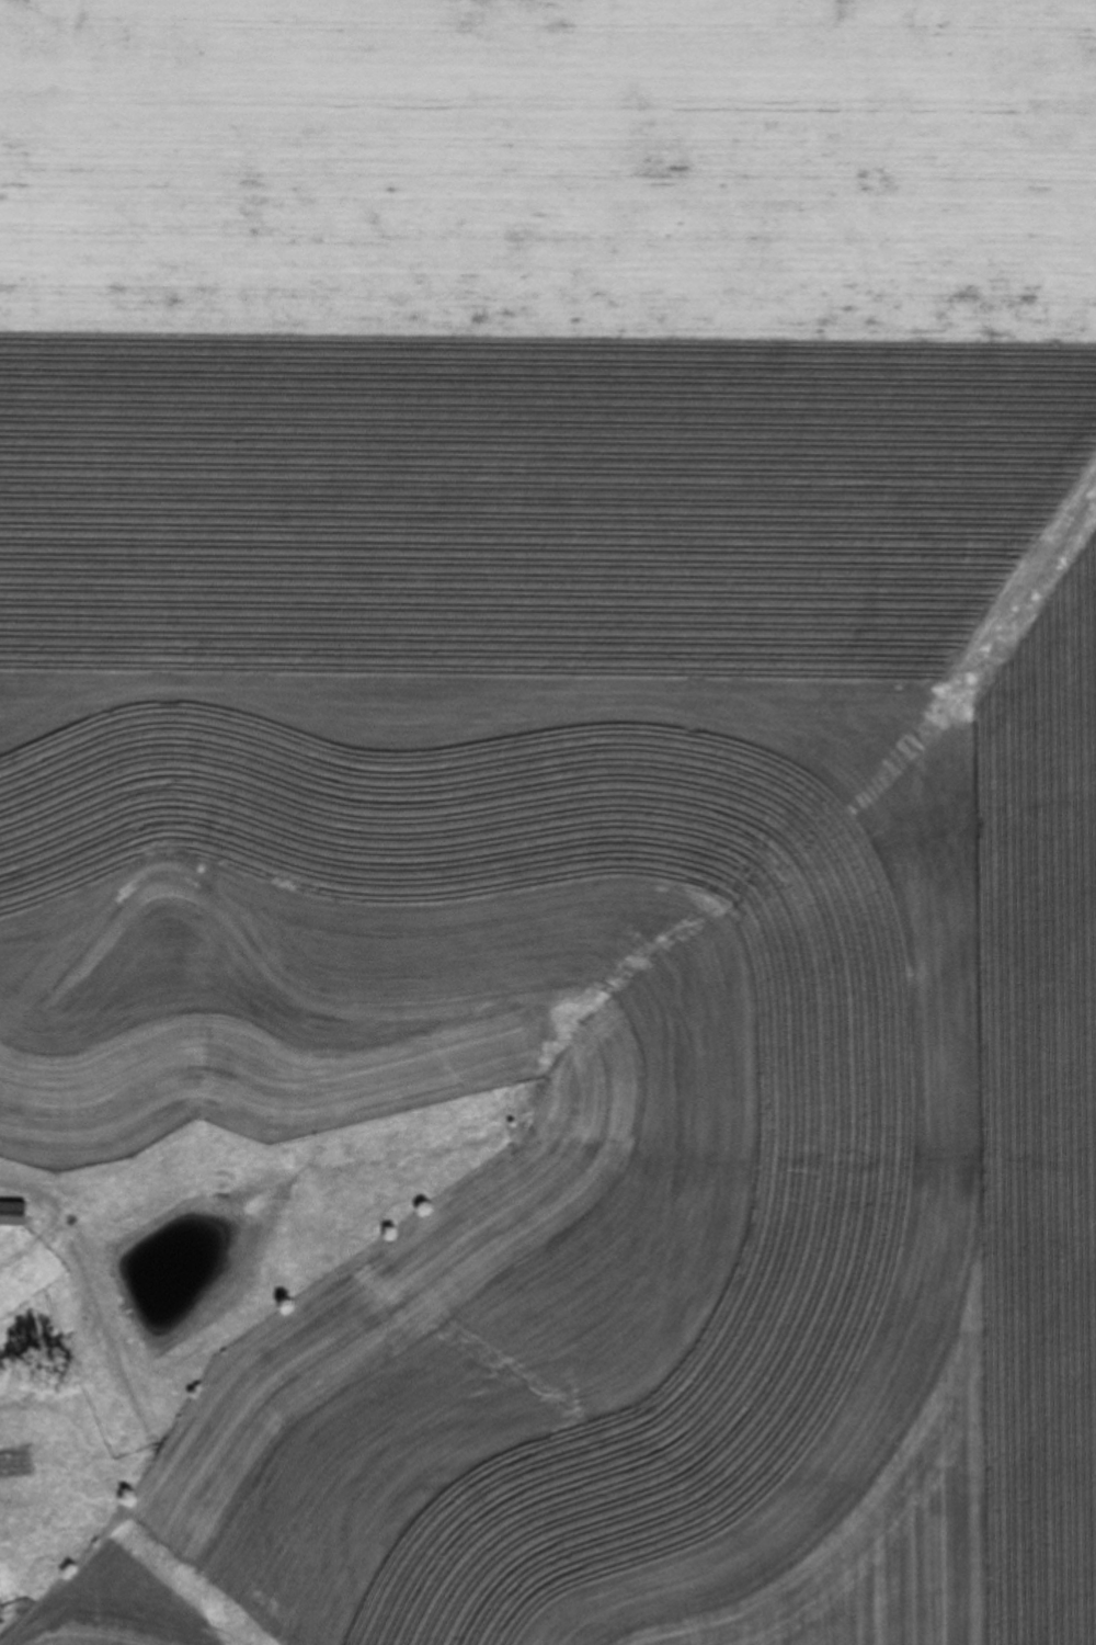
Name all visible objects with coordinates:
building: (12, 1215)
building: (0, 1598)

